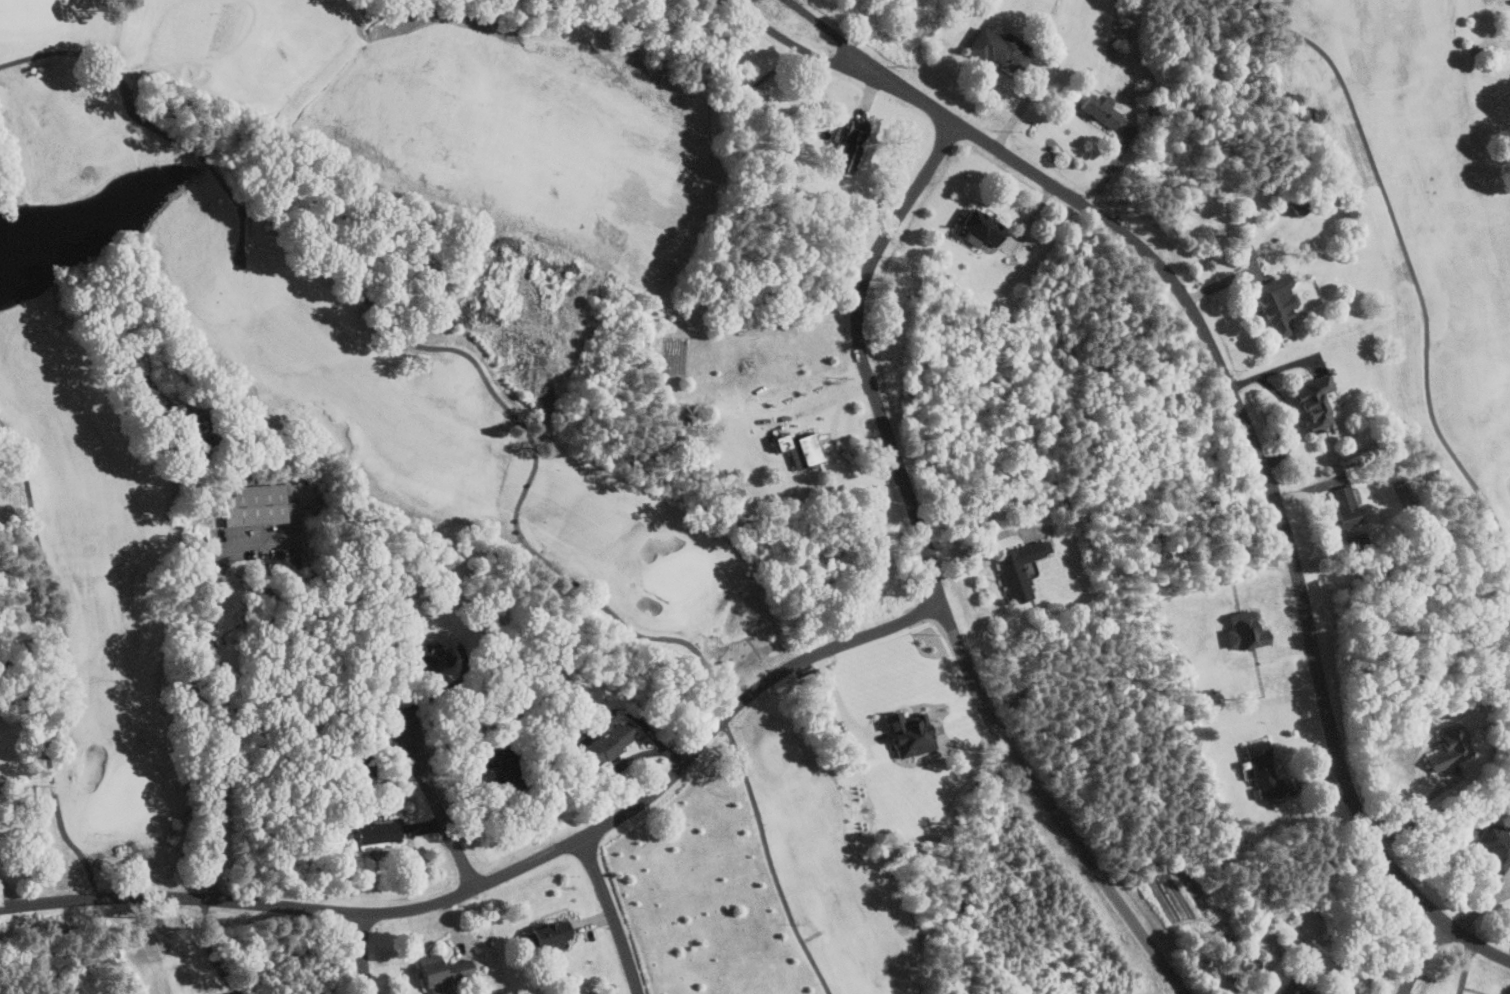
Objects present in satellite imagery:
road: (790, 1)
road: (831, 32)
road: (791, 44)
building: (998, 48)
building: (1098, 108)
building: (848, 145)
building: (977, 227)
building: (1245, 250)
road: (1410, 260)
building: (1275, 302)
road: (862, 353)
building: (1313, 400)
road: (1288, 407)
road: (532, 427)
road: (1262, 467)
park: (755, 497)
building: (253, 504)
building: (1344, 505)
building: (1019, 567)
building: (1242, 630)
building: (423, 653)
road: (214, 656)
road: (747, 696)
road: (843, 705)
building: (907, 733)
building: (606, 742)
building: (1448, 748)
building: (1261, 770)
road: (1049, 804)
road: (439, 808)
road: (1415, 810)
building: (372, 834)
building: (1494, 845)
road: (475, 887)
road: (181, 898)
road: (612, 915)
building: (548, 933)
road: (219, 948)
road: (361, 953)
road: (1423, 957)
road: (1466, 967)
building: (438, 969)
building: (1305, 990)

